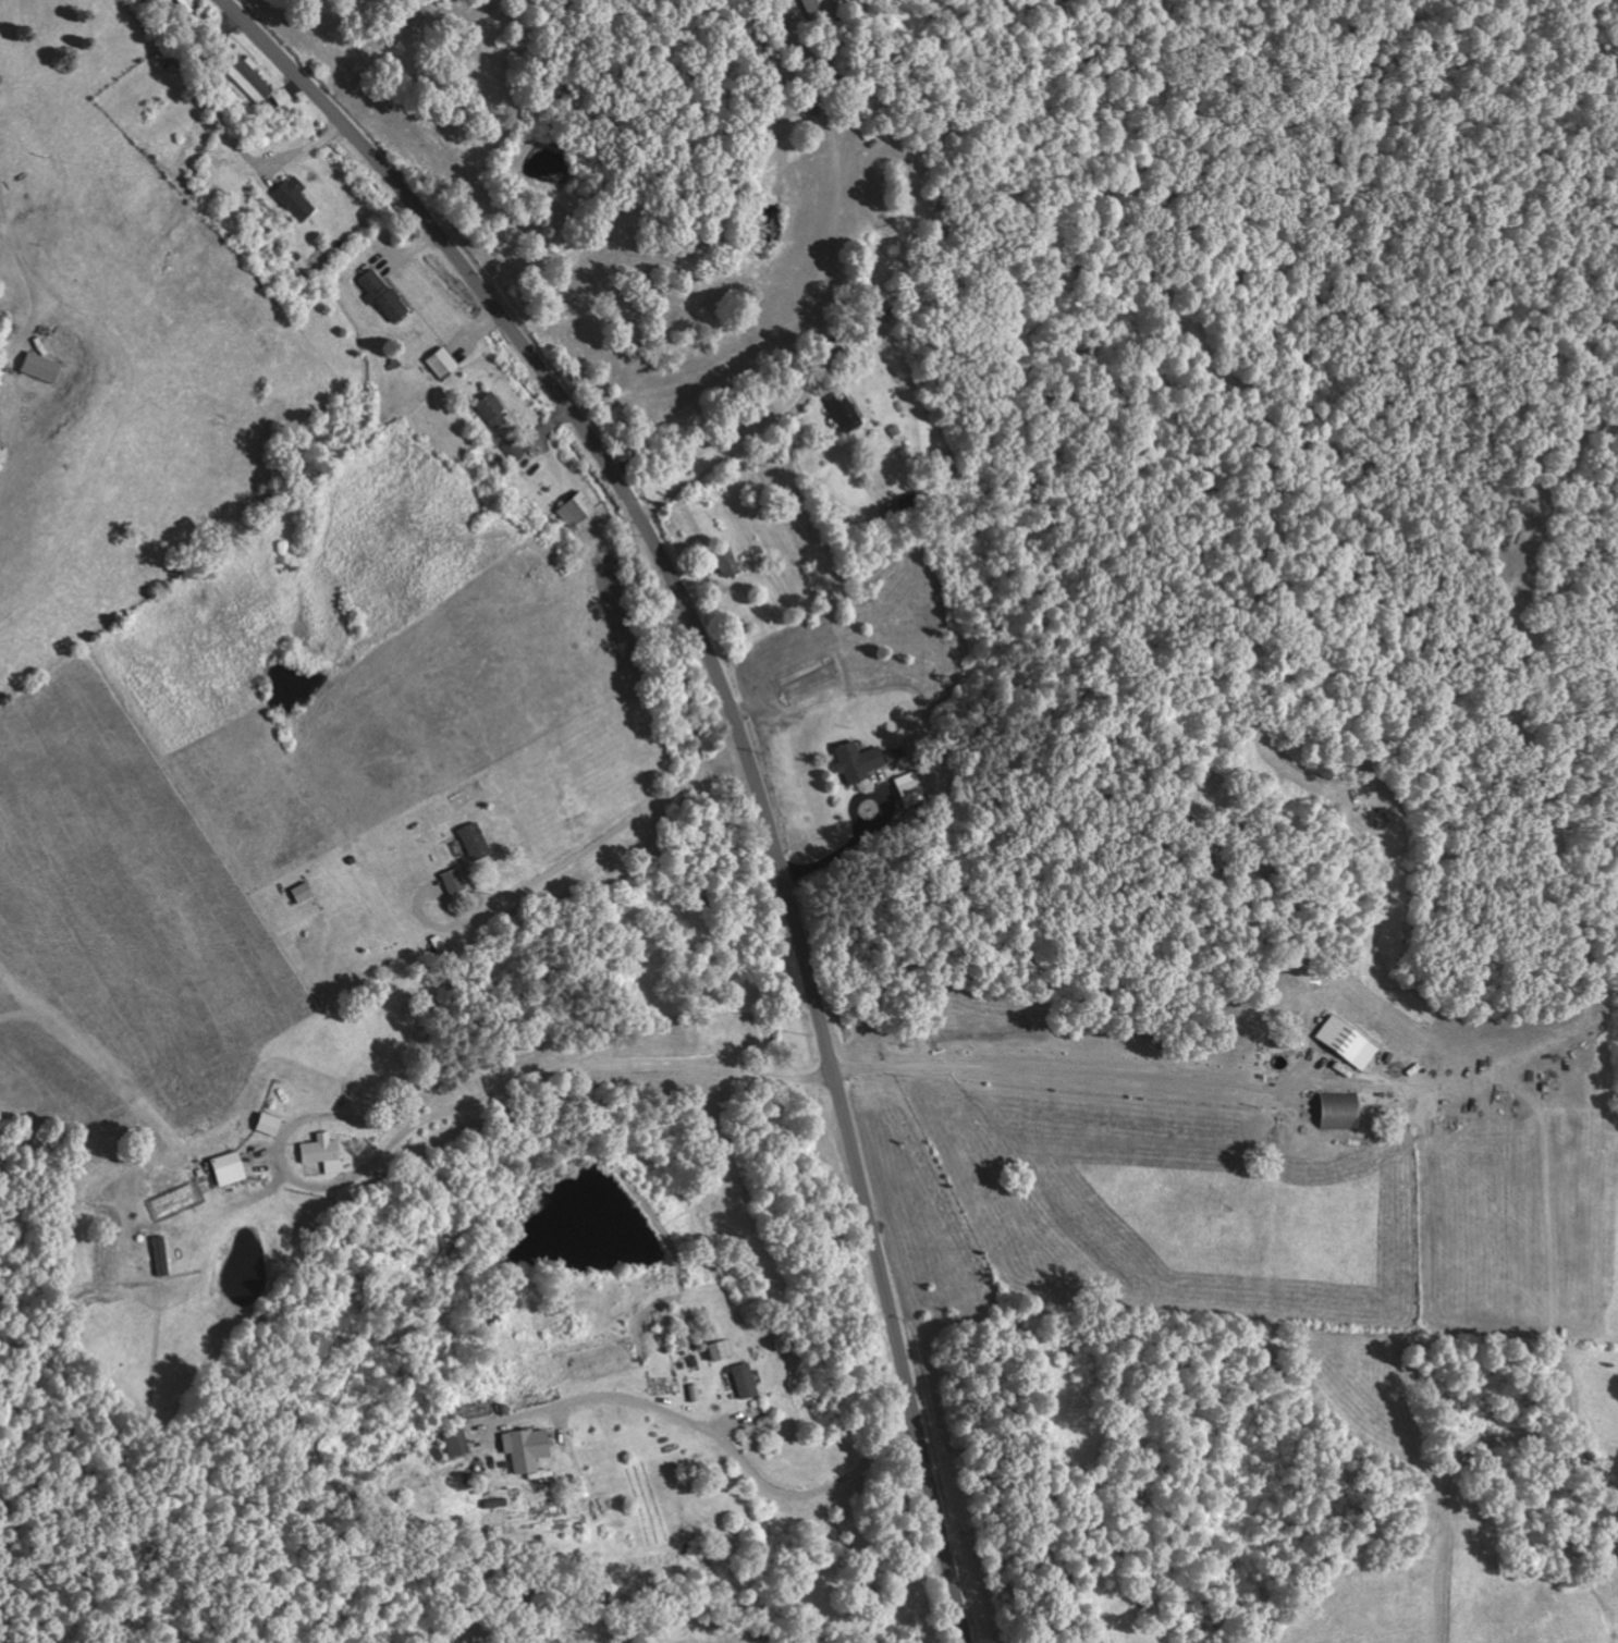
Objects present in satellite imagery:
building: (820, 8)
building: (249, 78)
building: (283, 97)
building: (295, 198)
road: (758, 252)
building: (385, 295)
building: (444, 364)
building: (46, 367)
building: (494, 409)
building: (844, 410)
building: (517, 449)
road: (817, 502)
building: (577, 510)
building: (730, 563)
road: (748, 749)
building: (866, 761)
building: (910, 789)
building: (475, 842)
building: (454, 882)
building: (304, 893)
building: (1349, 1042)
building: (1341, 1112)
building: (324, 1154)
building: (232, 1169)
building: (722, 1351)
building: (744, 1381)
building: (694, 1394)
building: (458, 1443)
road: (737, 1446)
building: (529, 1449)

